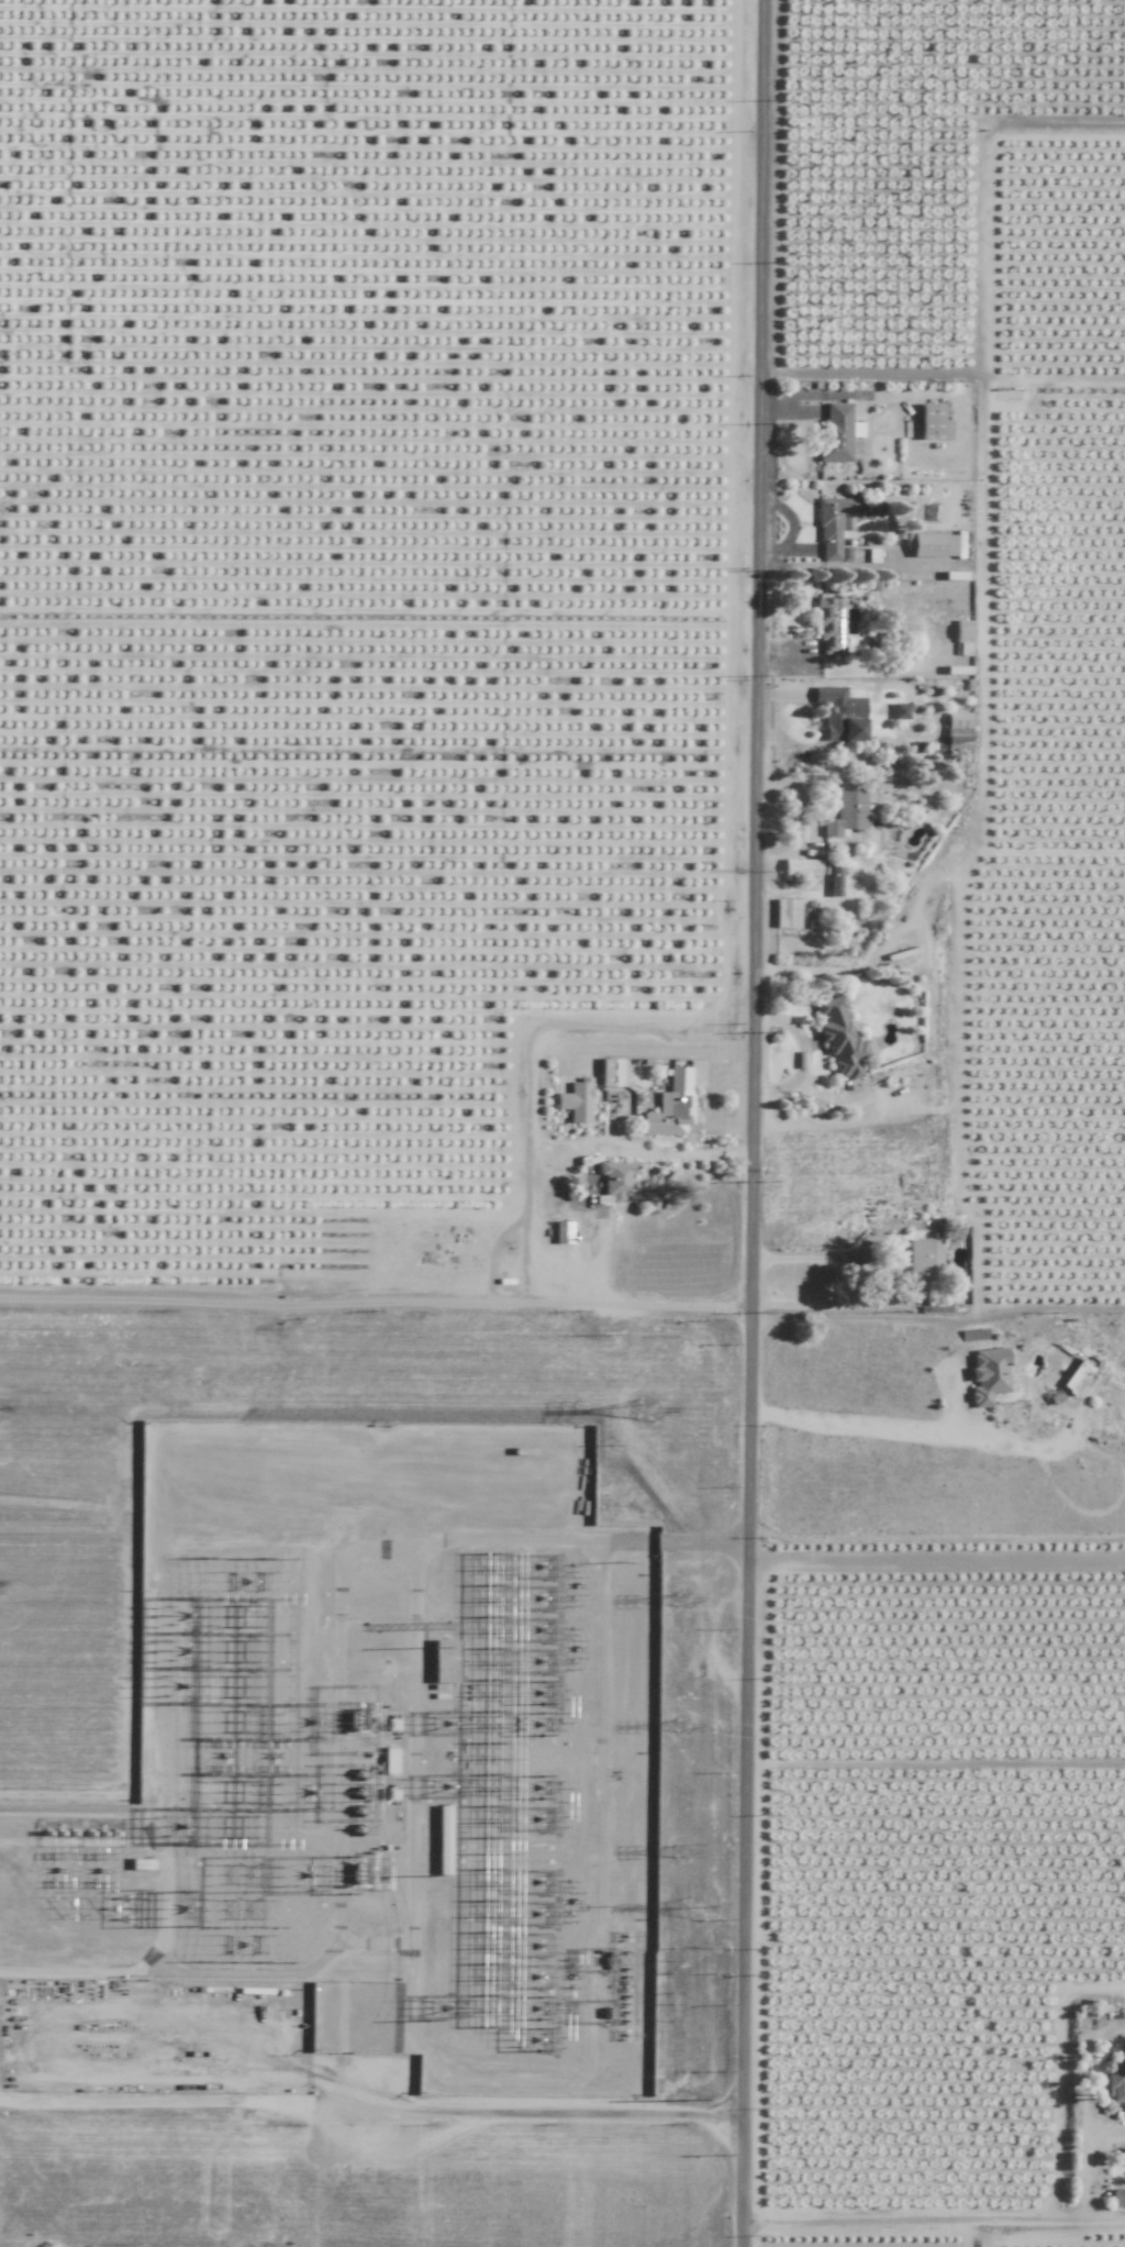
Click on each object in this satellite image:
road: (946, 376)
building: (932, 422)
building: (834, 433)
building: (833, 524)
building: (936, 544)
building: (828, 623)
building: (962, 637)
road: (981, 658)
building: (899, 710)
building: (839, 713)
building: (956, 732)
building: (848, 812)
building: (800, 866)
building: (834, 877)
building: (786, 912)
building: (839, 1038)
road: (658, 1048)
building: (610, 1072)
building: (575, 1100)
building: (670, 1105)
road: (767, 1123)
building: (614, 1181)
road: (567, 1210)
building: (561, 1232)
road: (822, 1255)
building: (923, 1259)
road: (943, 1318)
power tower: (602, 1337)
building: (988, 1375)
building: (1076, 1376)
power tower: (642, 1413)
road: (916, 1430)
power tower: (605, 1447)
road: (937, 1559)
power tower: (615, 1563)
power tower: (681, 1601)
building: (444, 1661)
power tower: (681, 1727)
power substation: (366, 1797)
building: (442, 1839)
power tower: (679, 1855)
power tower: (689, 1908)
building: (1115, 2078)
power tower: (682, 2103)
road: (1088, 2111)
building: (1117, 2196)
road: (914, 2221)
road: (1106, 2221)

